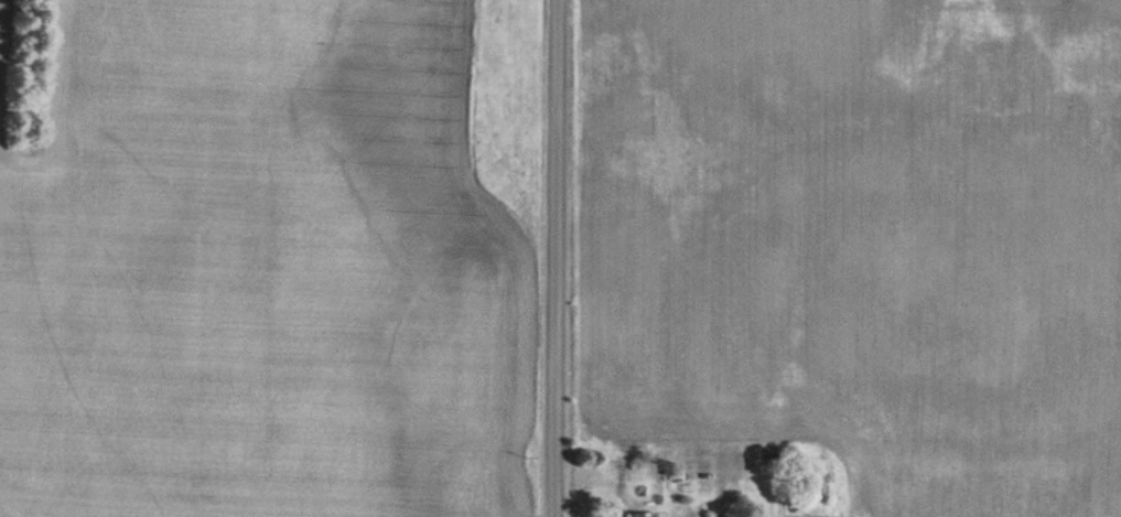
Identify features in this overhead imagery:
building: (554, 193)
road: (554, 258)
building: (736, 466)
building: (645, 514)

